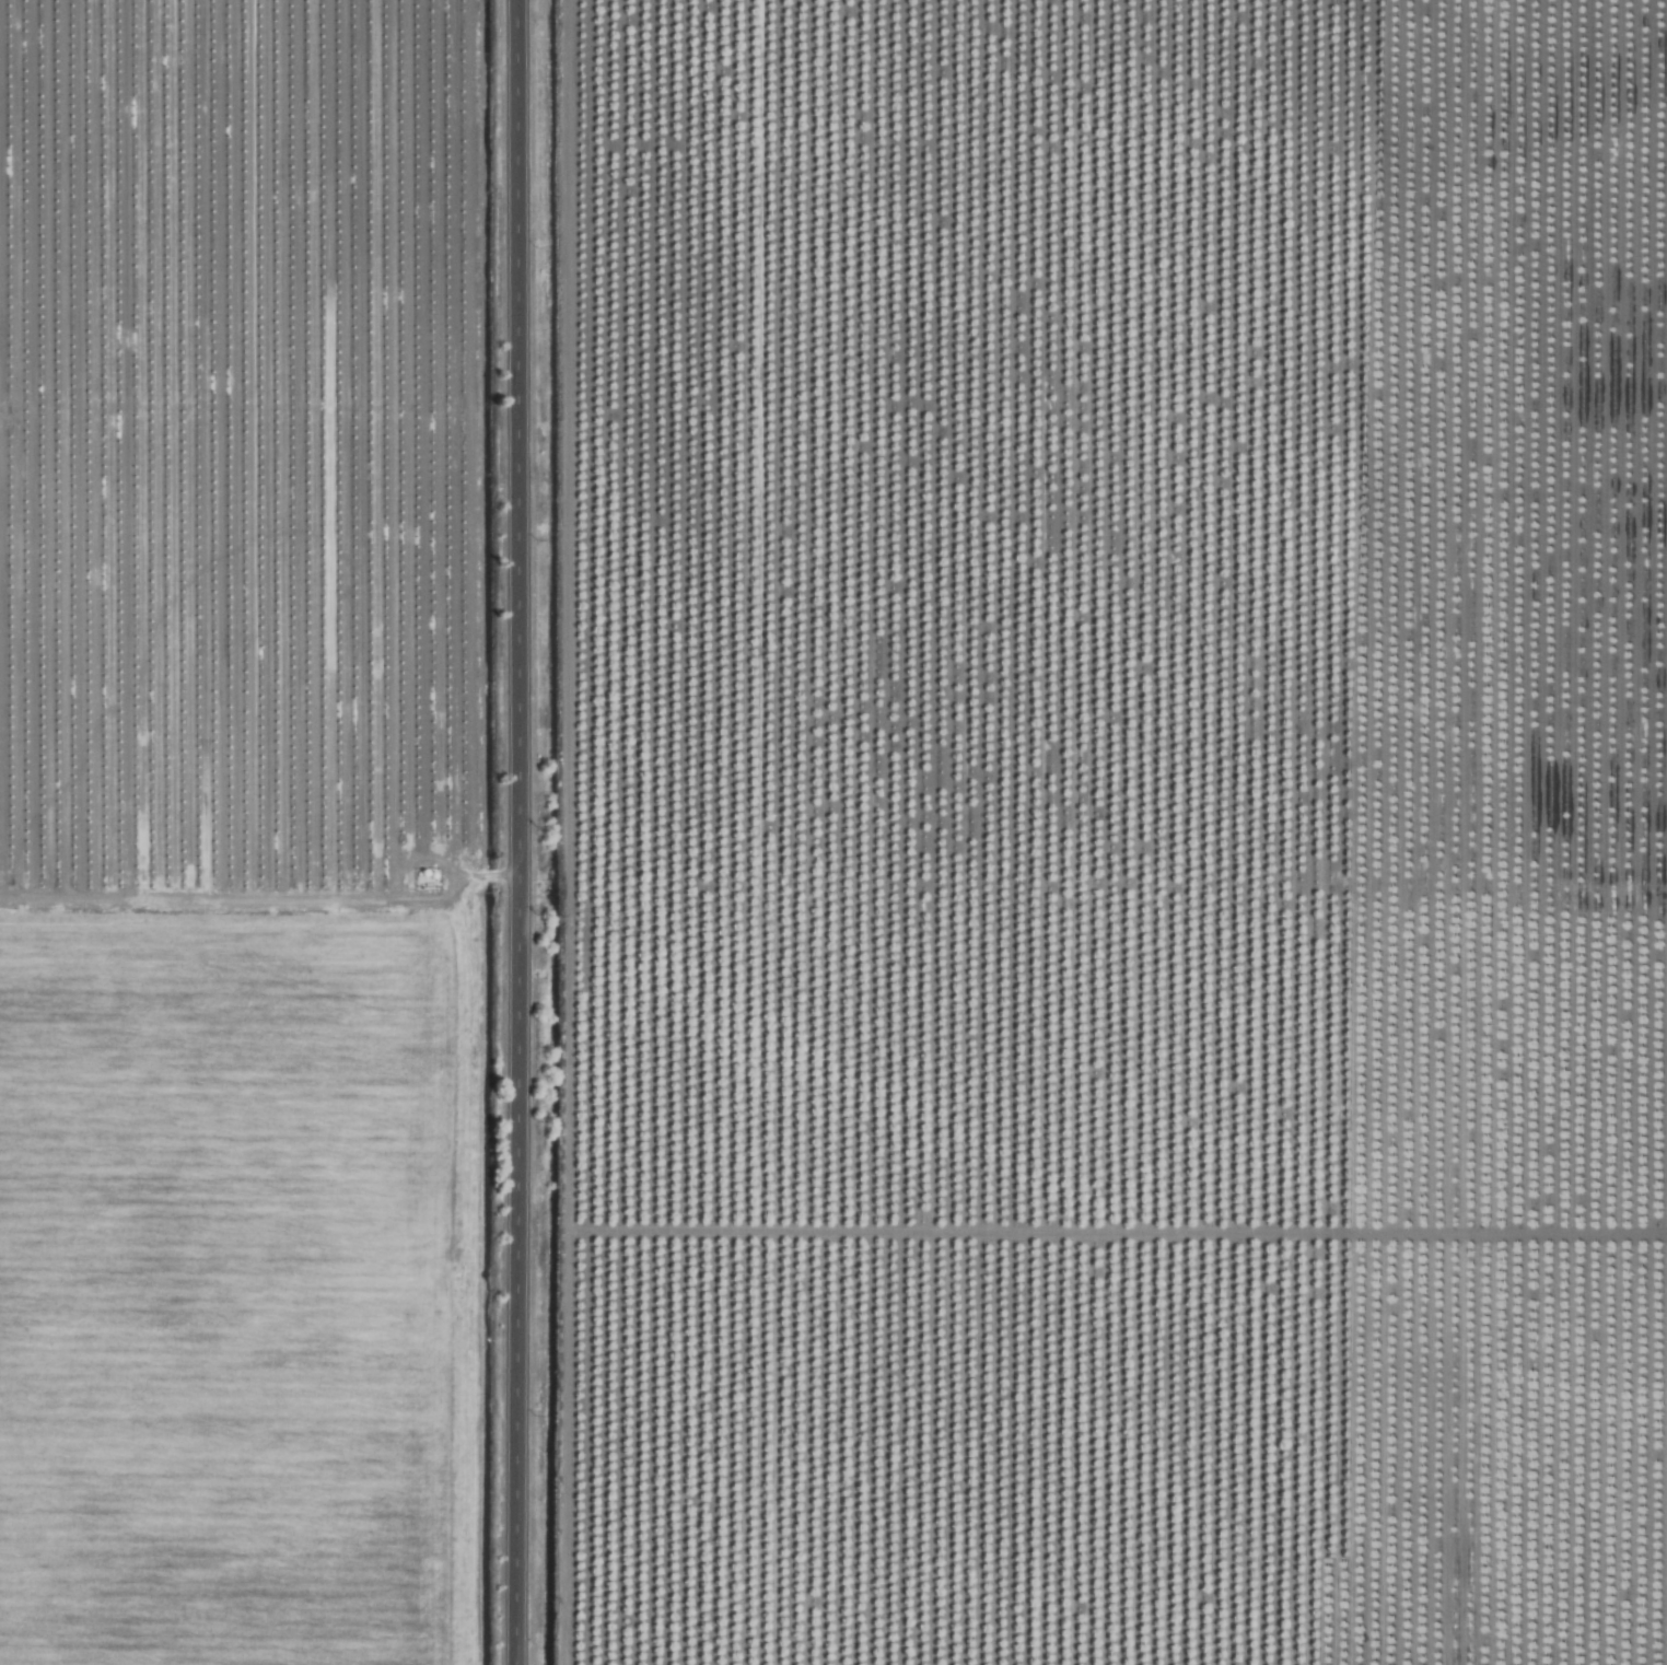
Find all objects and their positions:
road: (516, 832)
road: (481, 875)

